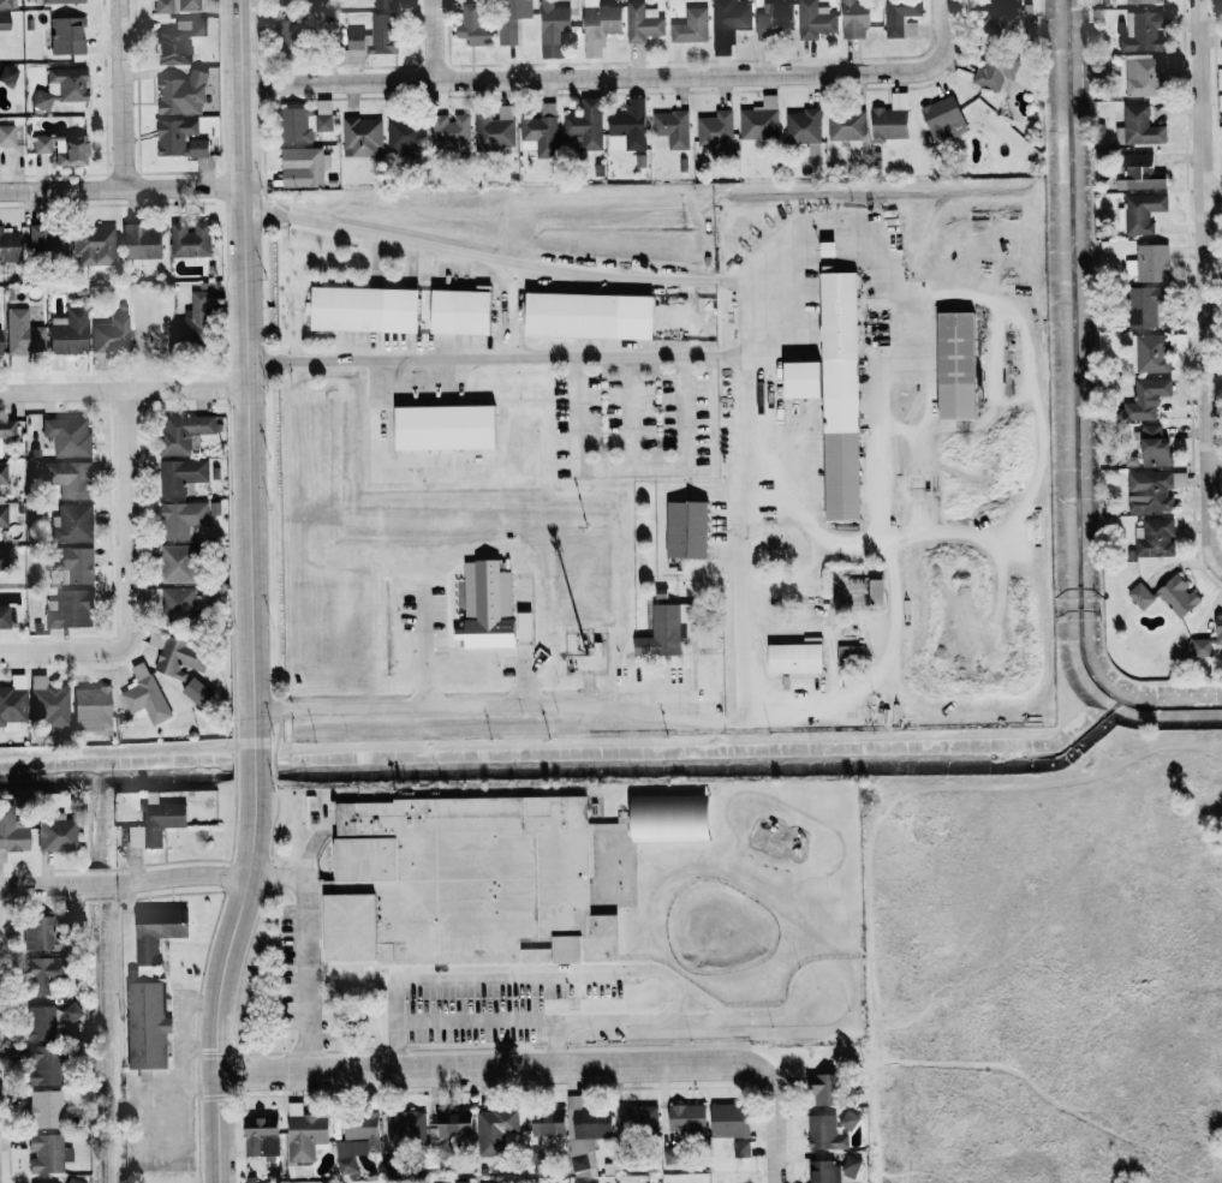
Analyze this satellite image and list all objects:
building: (60, 1)
building: (297, 1)
building: (1140, 1)
building: (385, 2)
building: (5, 4)
building: (175, 6)
building: (901, 17)
building: (1002, 17)
building: (511, 18)
building: (854, 18)
building: (775, 19)
building: (815, 19)
building: (4, 22)
building: (642, 22)
building: (727, 22)
building: (473, 25)
building: (598, 25)
building: (690, 25)
building: (553, 28)
building: (1143, 31)
building: (65, 35)
building: (375, 35)
building: (290, 38)
road: (430, 40)
building: (177, 41)
building: (994, 68)
building: (7, 76)
building: (1143, 76)
road: (626, 77)
building: (60, 86)
road: (120, 91)
building: (179, 94)
building: (943, 119)
building: (759, 120)
building: (890, 120)
building: (304, 121)
building: (584, 125)
building: (801, 125)
building: (846, 125)
building: (627, 126)
building: (1137, 126)
building: (672, 127)
building: (495, 129)
building: (451, 131)
building: (540, 131)
building: (715, 131)
building: (404, 133)
building: (6, 136)
building: (362, 137)
building: (179, 138)
building: (41, 144)
building: (70, 149)
building: (303, 166)
building: (1139, 173)
road: (118, 184)
road: (1212, 187)
building: (1139, 211)
building: (189, 239)
building: (139, 241)
building: (47, 243)
building: (93, 244)
building: (7, 245)
building: (1149, 263)
road: (1204, 285)
building: (1145, 305)
building: (364, 309)
building: (460, 311)
building: (589, 315)
road: (741, 317)
building: (193, 321)
building: (67, 331)
building: (22, 333)
building: (108, 337)
building: (0, 341)
building: (1150, 352)
road: (678, 353)
building: (955, 365)
building: (801, 378)
road: (1214, 380)
road: (121, 390)
building: (840, 395)
building: (1145, 399)
road: (1038, 416)
road: (631, 423)
building: (445, 426)
building: (6, 428)
building: (181, 431)
building: (67, 436)
road: (877, 440)
building: (1154, 446)
road: (630, 468)
building: (2, 473)
building: (180, 476)
building: (68, 478)
building: (1149, 491)
building: (2, 515)
building: (181, 518)
building: (72, 522)
building: (686, 528)
building: (1154, 538)
building: (4, 557)
building: (73, 562)
building: (178, 563)
road: (127, 566)
road: (1221, 567)
road: (248, 593)
building: (1167, 597)
building: (174, 603)
building: (491, 608)
building: (70, 609)
building: (4, 617)
building: (662, 631)
building: (1209, 640)
road: (13, 652)
building: (177, 656)
building: (848, 656)
building: (795, 658)
building: (196, 692)
building: (143, 694)
building: (48, 703)
building: (12, 707)
building: (91, 709)
building: (669, 818)
building: (155, 823)
building: (54, 834)
building: (11, 835)
road: (830, 870)
building: (467, 872)
road: (275, 874)
road: (124, 878)
building: (621, 882)
road: (305, 898)
building: (156, 931)
building: (35, 933)
road: (471, 973)
building: (41, 974)
road: (473, 1020)
building: (47, 1022)
road: (540, 1064)
building: (42, 1065)
building: (143, 1075)
building: (822, 1089)
building: (43, 1109)
building: (638, 1118)
building: (687, 1118)
building: (847, 1121)
building: (547, 1122)
building: (451, 1124)
building: (404, 1127)
building: (493, 1130)
building: (824, 1133)
building: (584, 1134)
building: (261, 1136)
building: (304, 1136)
building: (356, 1140)
building: (46, 1154)
building: (670, 1155)
building: (850, 1166)
building: (821, 1171)
road: (774, 1176)
building: (73, 1181)
building: (578, 1182)

